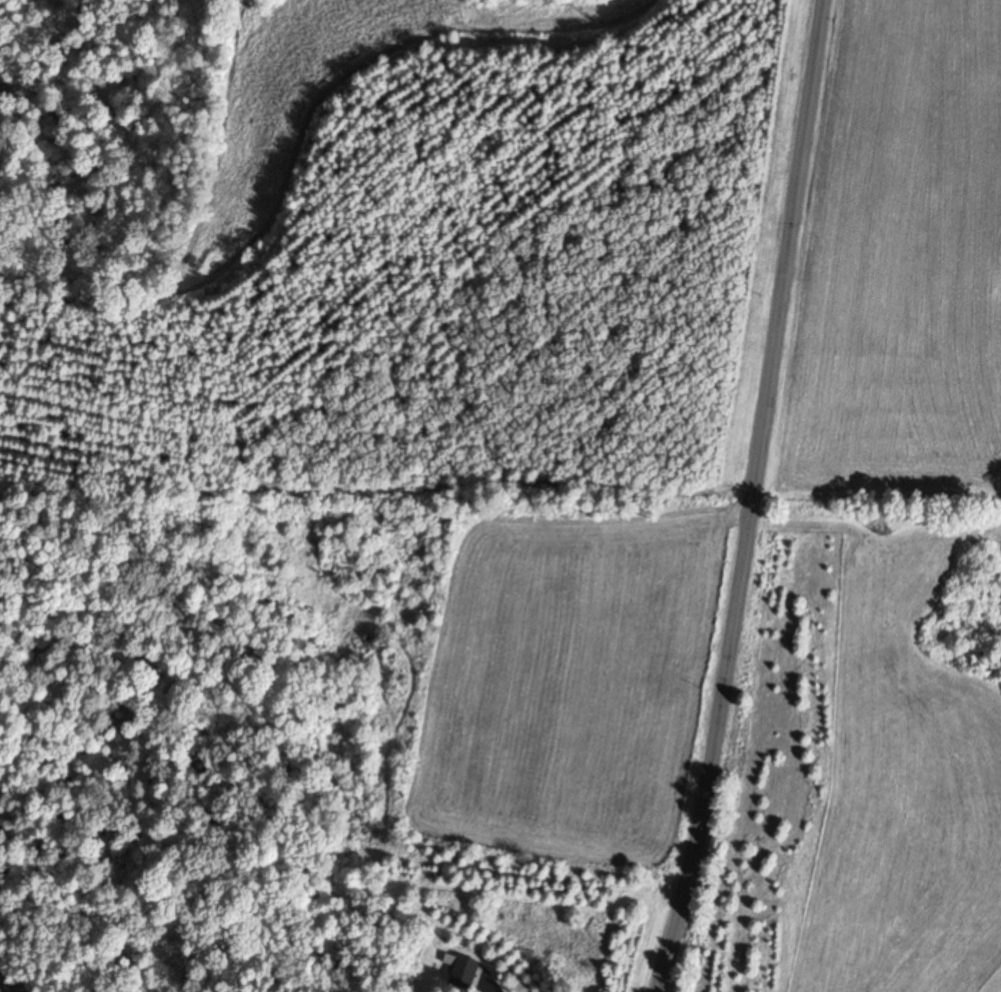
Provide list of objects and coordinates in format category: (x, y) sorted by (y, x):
road: (751, 498)
building: (462, 973)

